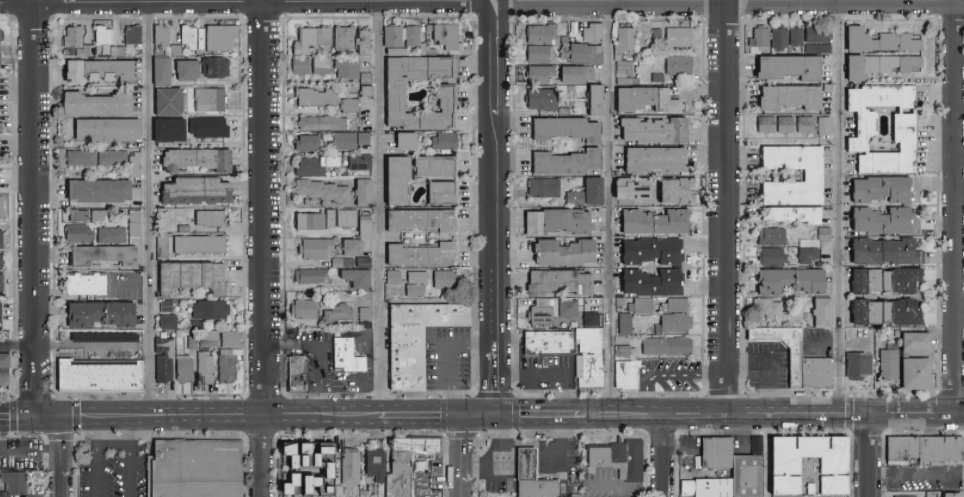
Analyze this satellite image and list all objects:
road: (496, 1)
road: (669, 1)
road: (248, 3)
building: (596, 33)
building: (131, 34)
building: (185, 34)
building: (544, 34)
building: (658, 34)
building: (819, 34)
building: (70, 35)
building: (100, 35)
building: (217, 36)
building: (395, 36)
building: (414, 36)
building: (198, 37)
building: (345, 37)
building: (449, 37)
building: (681, 37)
building: (781, 37)
building: (798, 37)
building: (163, 39)
building: (313, 39)
building: (761, 40)
building: (881, 41)
building: (364, 42)
building: (626, 42)
building: (820, 49)
building: (428, 50)
building: (398, 51)
building: (587, 53)
building: (542, 54)
road: (496, 58)
building: (681, 65)
building: (881, 65)
building: (212, 66)
building: (302, 66)
building: (323, 66)
building: (792, 66)
building: (629, 67)
building: (183, 69)
building: (349, 69)
building: (94, 70)
building: (157, 70)
building: (541, 74)
building: (578, 74)
building: (659, 78)
building: (628, 81)
building: (365, 86)
building: (830, 88)
building: (447, 94)
building: (317, 97)
building: (792, 97)
building: (206, 98)
building: (590, 98)
building: (597, 99)
building: (164, 100)
building: (544, 100)
building: (648, 100)
building: (92, 103)
building: (351, 106)
building: (323, 124)
building: (768, 125)
building: (788, 125)
building: (807, 125)
building: (906, 125)
building: (205, 126)
building: (826, 127)
building: (165, 128)
building: (102, 129)
building: (567, 129)
building: (657, 130)
building: (365, 138)
building: (346, 141)
building: (408, 141)
building: (446, 141)
building: (310, 144)
building: (78, 157)
building: (109, 157)
building: (194, 158)
building: (658, 159)
building: (361, 162)
building: (568, 162)
building: (131, 164)
building: (317, 166)
building: (437, 166)
building: (815, 175)
building: (399, 179)
building: (546, 188)
building: (634, 188)
building: (94, 189)
building: (191, 190)
building: (324, 191)
building: (596, 191)
building: (679, 191)
building: (365, 192)
building: (443, 193)
building: (576, 198)
road: (609, 202)
road: (725, 202)
road: (842, 202)
road: (266, 203)
road: (149, 204)
building: (908, 205)
road: (956, 206)
road: (34, 207)
road: (378, 207)
building: (0, 213)
building: (794, 214)
building: (96, 215)
building: (206, 217)
building: (332, 219)
building: (348, 219)
building: (424, 220)
building: (311, 221)
building: (131, 222)
building: (560, 222)
building: (658, 222)
building: (360, 225)
building: (366, 227)
road: (496, 229)
building: (74, 232)
building: (109, 235)
building: (826, 235)
building: (773, 237)
building: (197, 243)
building: (816, 243)
building: (354, 248)
building: (317, 249)
building: (888, 252)
building: (566, 253)
building: (100, 254)
building: (424, 255)
building: (810, 256)
building: (774, 258)
building: (343, 263)
building: (365, 263)
building: (678, 267)
building: (187, 276)
building: (312, 276)
building: (359, 278)
building: (395, 278)
building: (447, 280)
building: (792, 281)
building: (886, 281)
building: (561, 282)
building: (81, 284)
building: (418, 284)
building: (622, 302)
building: (164, 305)
building: (643, 306)
building: (677, 306)
building: (768, 308)
building: (208, 309)
building: (570, 309)
building: (306, 310)
building: (887, 312)
building: (95, 313)
building: (543, 313)
building: (824, 313)
building: (340, 314)
building: (366, 319)
building: (593, 319)
building: (166, 321)
building: (627, 324)
building: (675, 324)
building: (98, 336)
building: (206, 338)
building: (228, 338)
building: (418, 340)
building: (190, 343)
building: (918, 343)
building: (550, 344)
road: (290, 345)
road: (17, 347)
building: (669, 347)
building: (625, 352)
building: (348, 356)
road: (446, 356)
building: (592, 357)
building: (162, 359)
building: (799, 359)
building: (4, 360)
road: (764, 363)
building: (891, 363)
building: (226, 365)
building: (203, 366)
building: (860, 366)
building: (182, 368)
building: (96, 374)
building: (297, 374)
building: (918, 374)
building: (628, 375)
road: (674, 376)
road: (496, 379)
road: (320, 380)
road: (1, 381)
road: (667, 404)
road: (797, 404)
road: (183, 407)
road: (595, 410)
road: (960, 410)
road: (912, 413)
road: (306, 414)
road: (350, 414)
road: (17, 415)
traffic signals: (34, 415)
road: (45, 415)
road: (421, 415)
traffic signals: (465, 415)
road: (480, 415)
traffic signals: (496, 415)
road: (538, 415)
road: (960, 415)
road: (67, 416)
road: (88, 419)
road: (195, 423)
road: (724, 424)
road: (98, 433)
road: (131, 434)
road: (57, 435)
road: (114, 444)
building: (750, 444)
road: (491, 449)
building: (925, 450)
road: (28, 453)
road: (869, 455)
road: (465, 456)
road: (544, 457)
road: (260, 459)
building: (620, 459)
road: (766, 460)
road: (665, 461)
building: (406, 464)
building: (376, 465)
building: (350, 466)
building: (306, 467)
building: (197, 469)
road: (97, 470)
building: (523, 470)
road: (130, 471)
building: (712, 471)
road: (916, 472)
road: (58, 475)
building: (747, 475)
building: (804, 476)
parking lot: (924, 478)
building: (785, 480)
building: (11, 482)
road: (626, 490)
building: (951, 495)
building: (902, 496)

